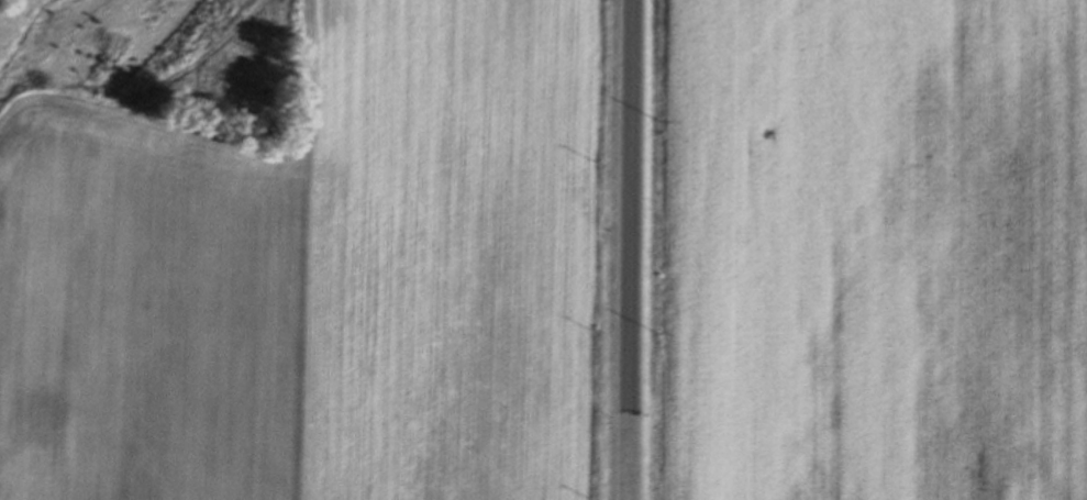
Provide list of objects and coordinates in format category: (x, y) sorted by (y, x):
road: (631, 249)

